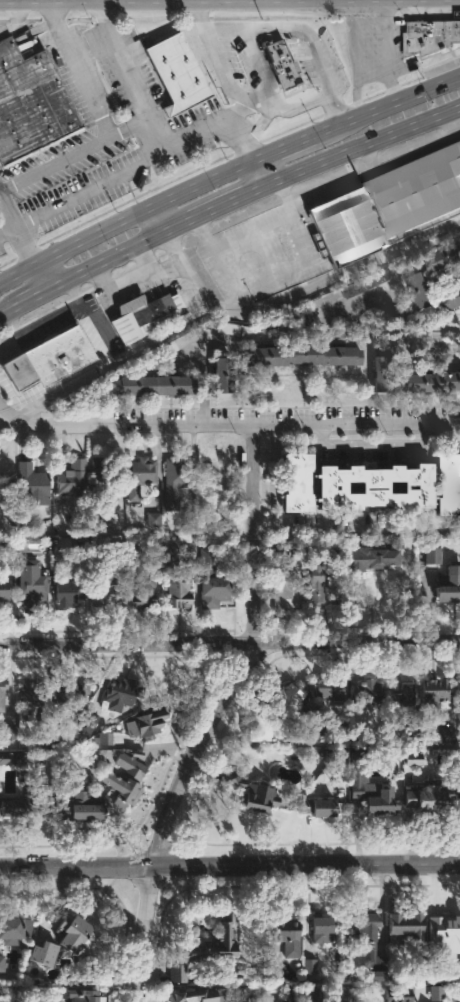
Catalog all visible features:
road: (359, 0)
road: (215, 1)
road: (257, 30)
building: (431, 36)
road: (216, 57)
road: (320, 61)
road: (122, 62)
building: (282, 65)
road: (80, 70)
building: (176, 72)
road: (308, 98)
building: (32, 104)
road: (385, 104)
road: (241, 113)
road: (143, 121)
road: (218, 125)
road: (283, 147)
road: (364, 147)
road: (55, 163)
road: (262, 174)
road: (89, 189)
building: (388, 204)
road: (233, 205)
road: (165, 218)
road: (126, 219)
road: (226, 222)
road: (6, 235)
road: (17, 239)
road: (122, 256)
road: (308, 257)
building: (446, 259)
road: (41, 279)
road: (307, 290)
building: (422, 291)
road: (34, 299)
building: (453, 300)
road: (10, 313)
building: (142, 315)
building: (389, 315)
building: (181, 340)
road: (148, 343)
building: (305, 354)
building: (49, 358)
building: (224, 373)
building: (387, 373)
building: (435, 381)
building: (156, 385)
road: (225, 429)
road: (372, 446)
building: (140, 476)
building: (106, 479)
building: (75, 481)
building: (178, 481)
building: (300, 482)
building: (448, 484)
building: (36, 485)
building: (376, 485)
building: (190, 517)
road: (354, 532)
building: (373, 559)
building: (322, 576)
building: (213, 578)
building: (179, 579)
building: (143, 582)
building: (450, 586)
building: (5, 587)
building: (288, 589)
building: (33, 591)
building: (71, 592)
building: (109, 594)
road: (230, 644)
road: (245, 656)
building: (330, 687)
building: (73, 688)
building: (435, 692)
building: (369, 693)
building: (4, 694)
building: (35, 694)
building: (121, 694)
building: (459, 694)
building: (289, 696)
building: (406, 700)
building: (150, 724)
building: (87, 725)
building: (268, 726)
building: (12, 757)
building: (127, 779)
building: (255, 791)
building: (376, 799)
building: (25, 800)
building: (431, 800)
building: (88, 806)
building: (320, 808)
road: (309, 865)
road: (79, 867)
building: (411, 924)
building: (446, 926)
building: (325, 927)
building: (13, 928)
building: (77, 931)
road: (146, 933)
building: (288, 935)
building: (371, 941)
building: (215, 942)
building: (45, 951)
building: (2, 965)
building: (312, 967)
building: (180, 974)
building: (87, 995)
building: (202, 995)
building: (397, 995)

